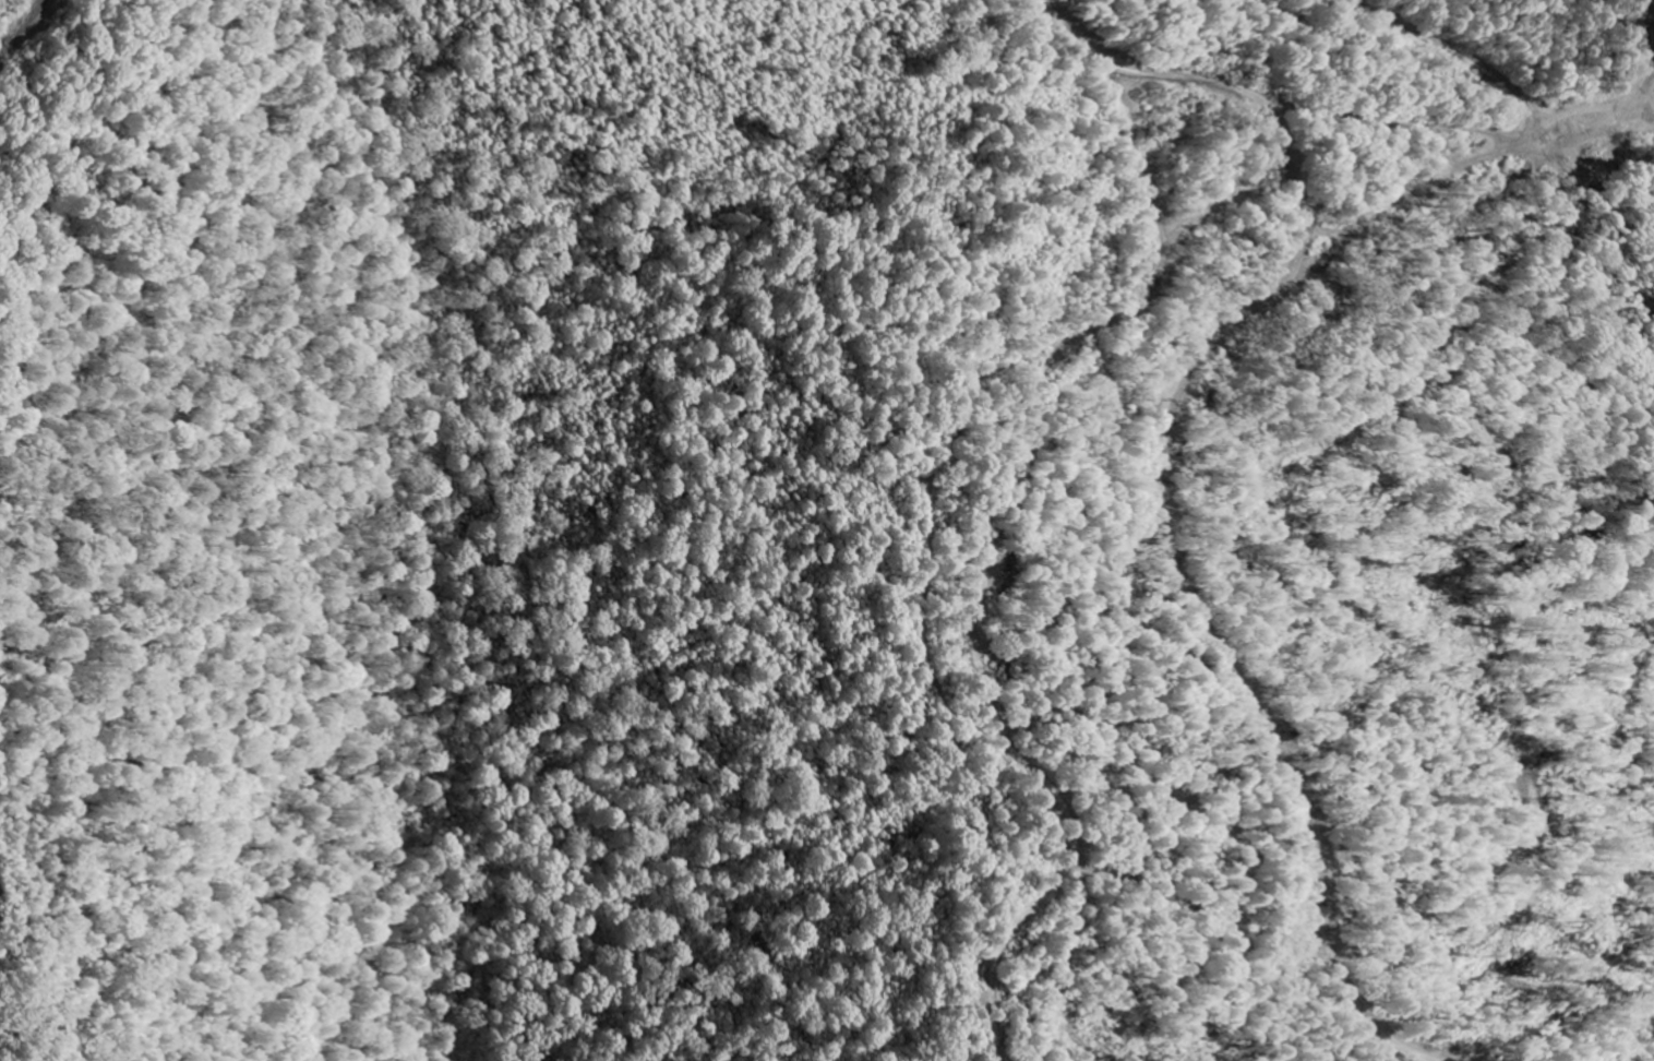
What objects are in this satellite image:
road: (22, 26)
road: (1170, 473)

